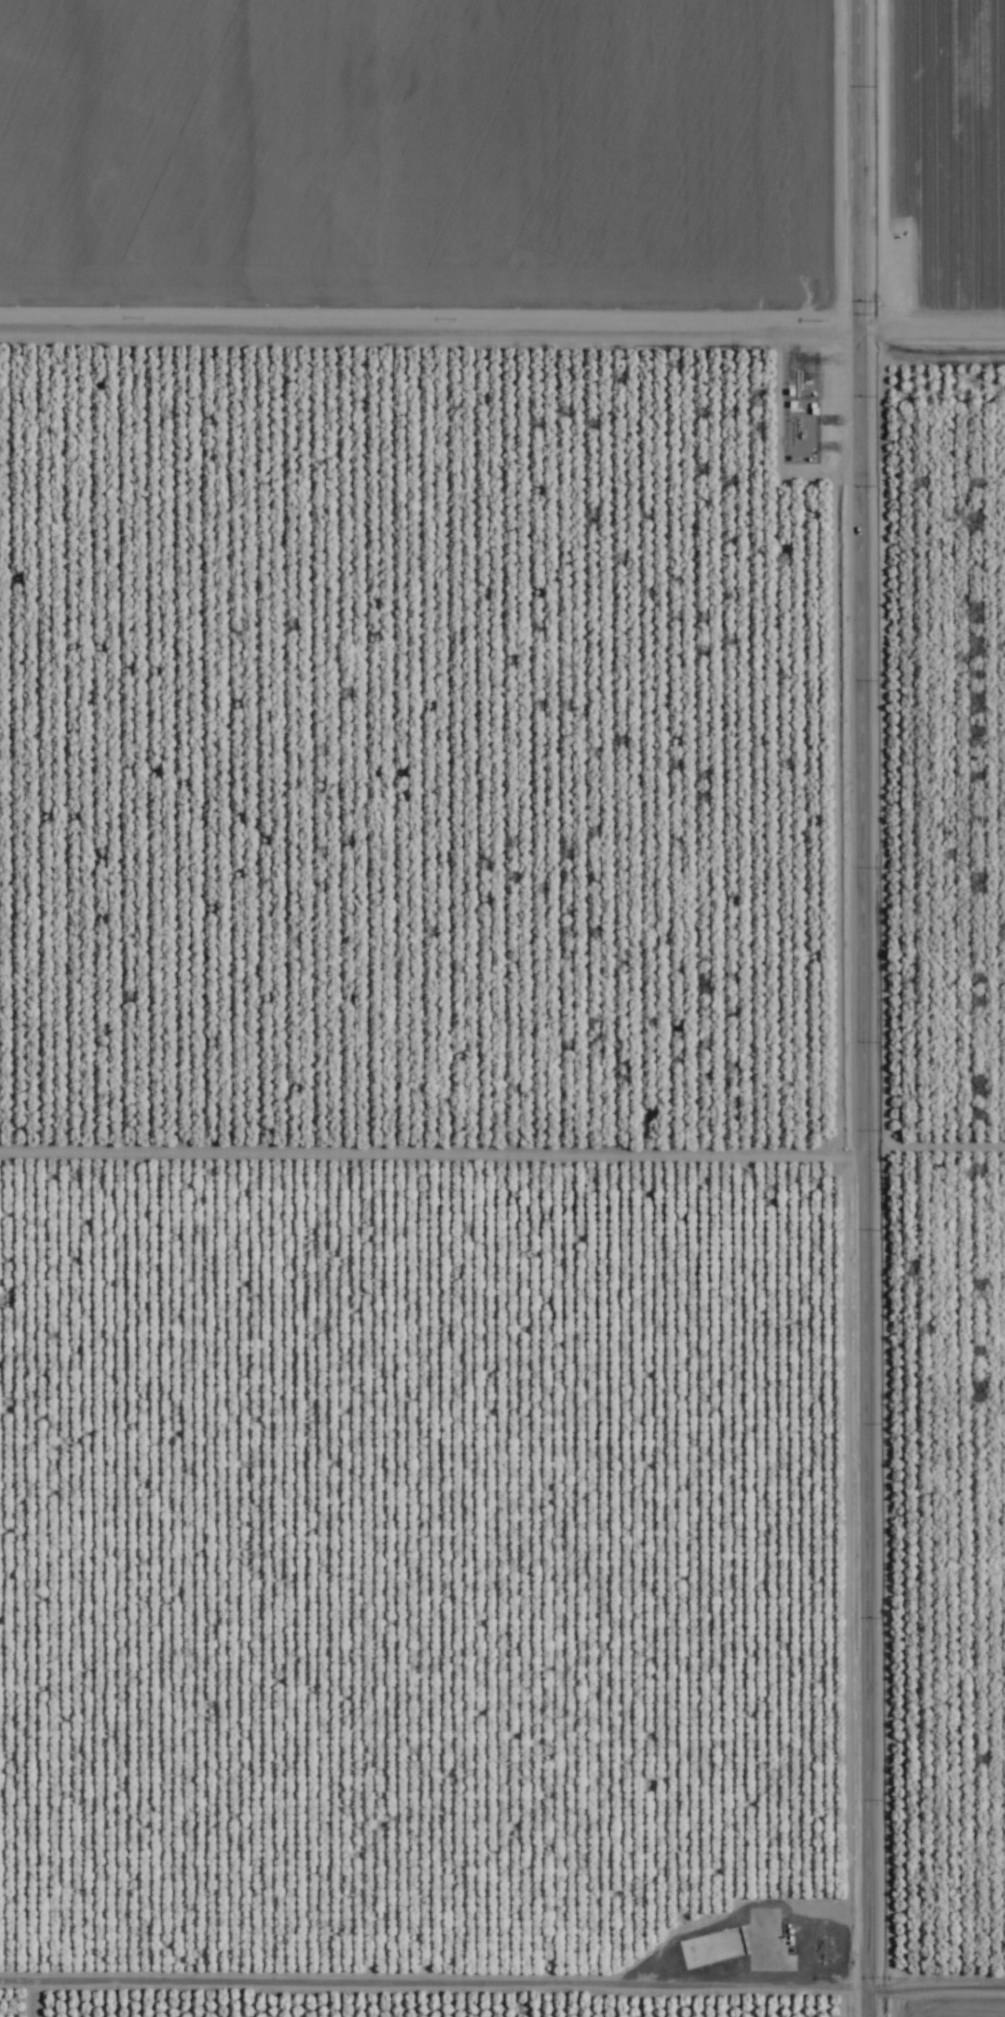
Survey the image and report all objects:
road: (431, 322)
road: (933, 325)
crop: (502, 1008)
road: (865, 1008)
road: (502, 1961)

